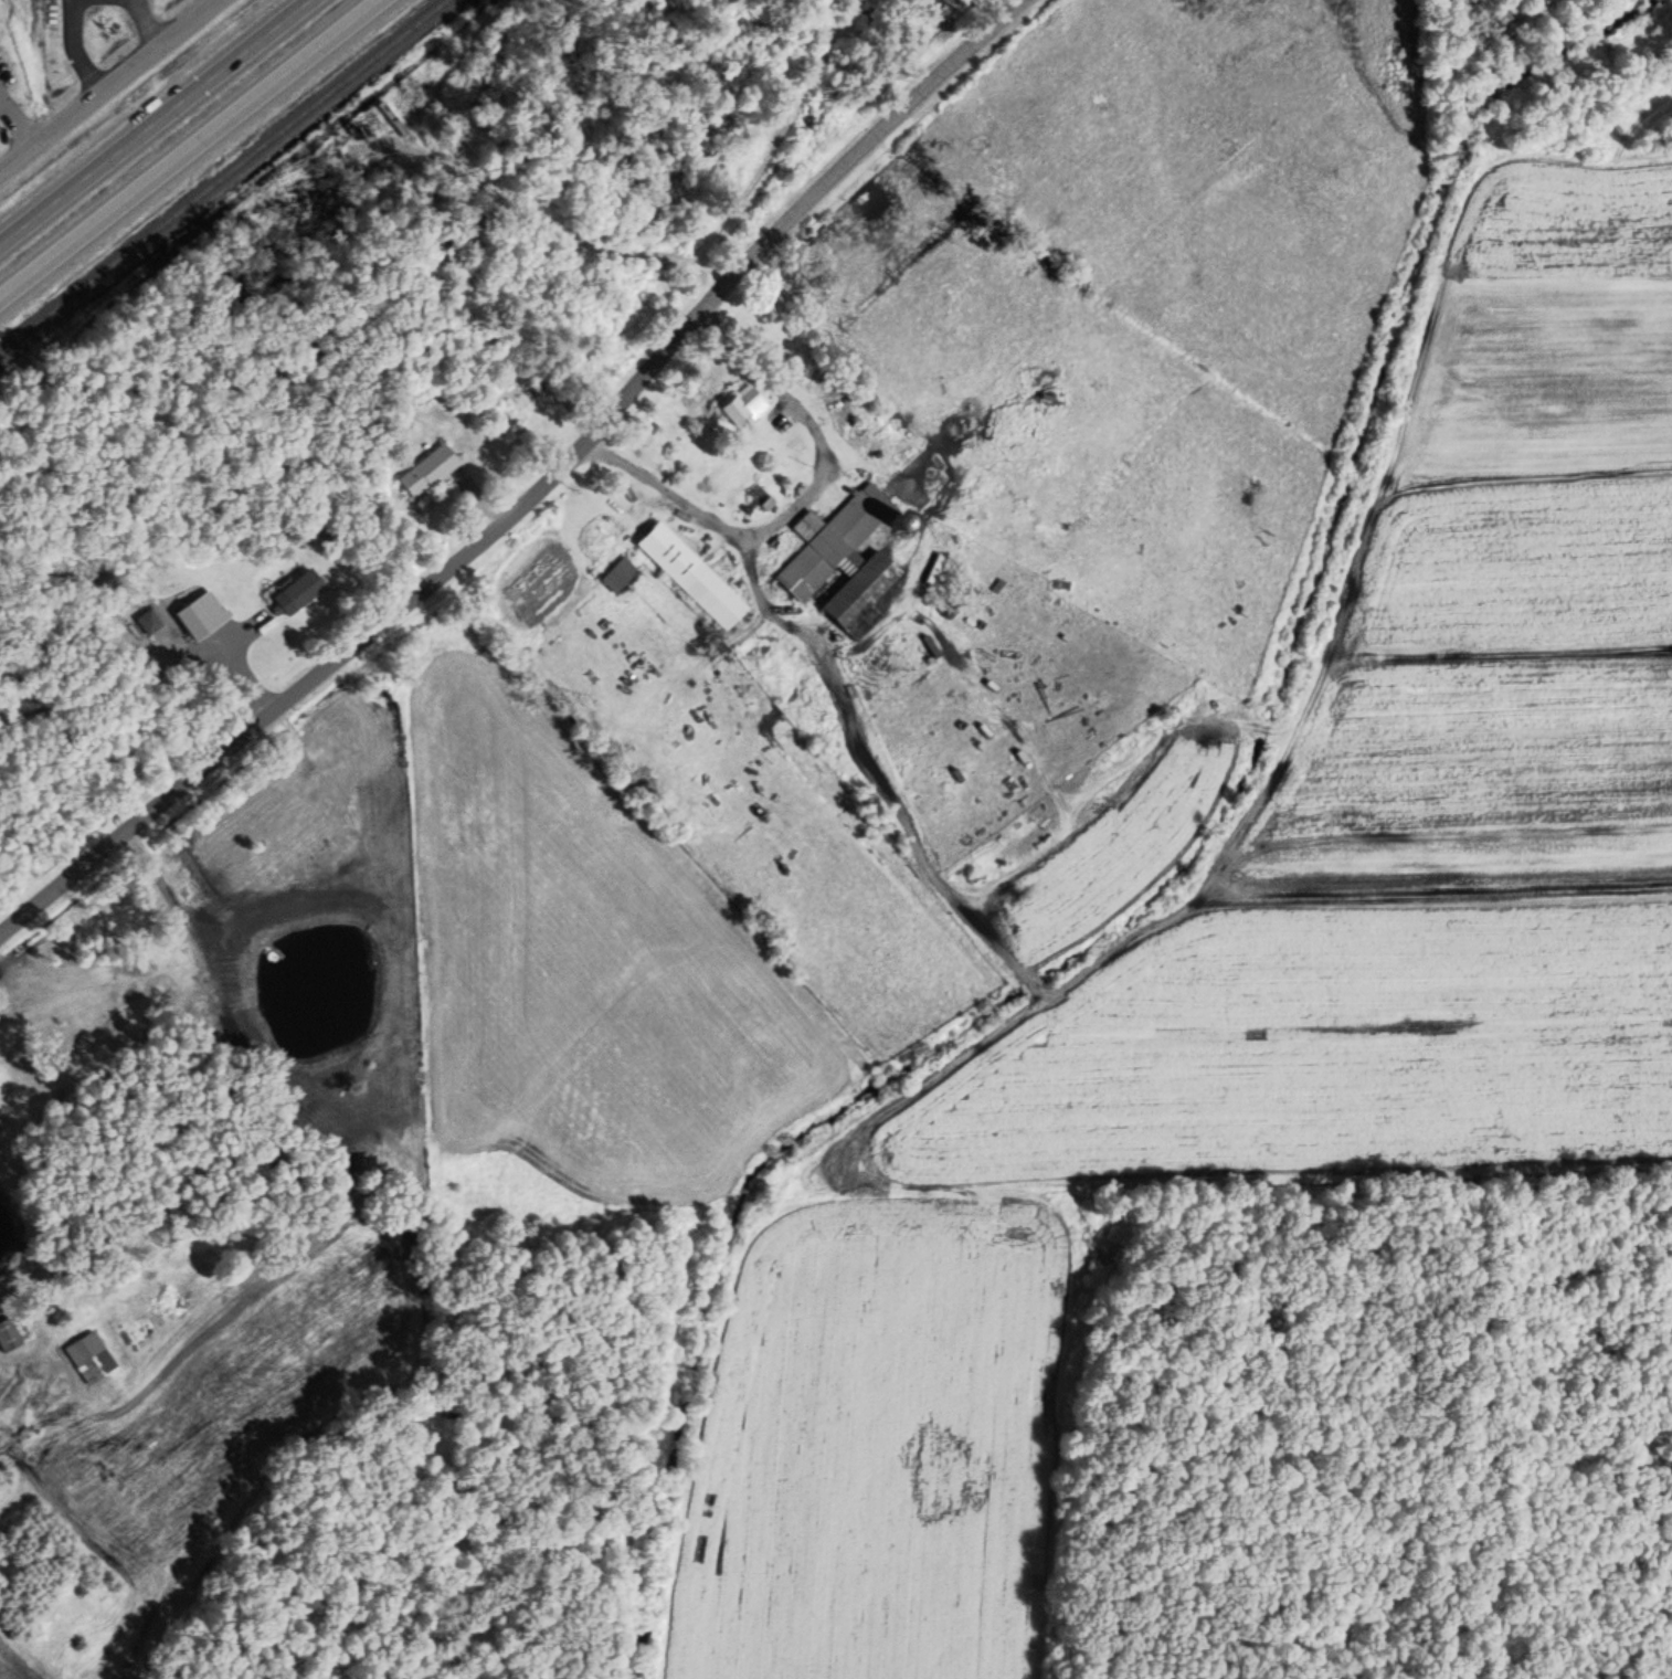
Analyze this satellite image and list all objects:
road: (105, 83)
road: (152, 120)
road: (189, 149)
railway: (223, 176)
building: (103, 213)
building: (740, 403)
building: (427, 469)
road: (536, 492)
building: (829, 540)
building: (617, 572)
building: (689, 573)
building: (859, 589)
building: (296, 591)
building: (192, 616)
building: (8, 1334)
building: (84, 1354)

